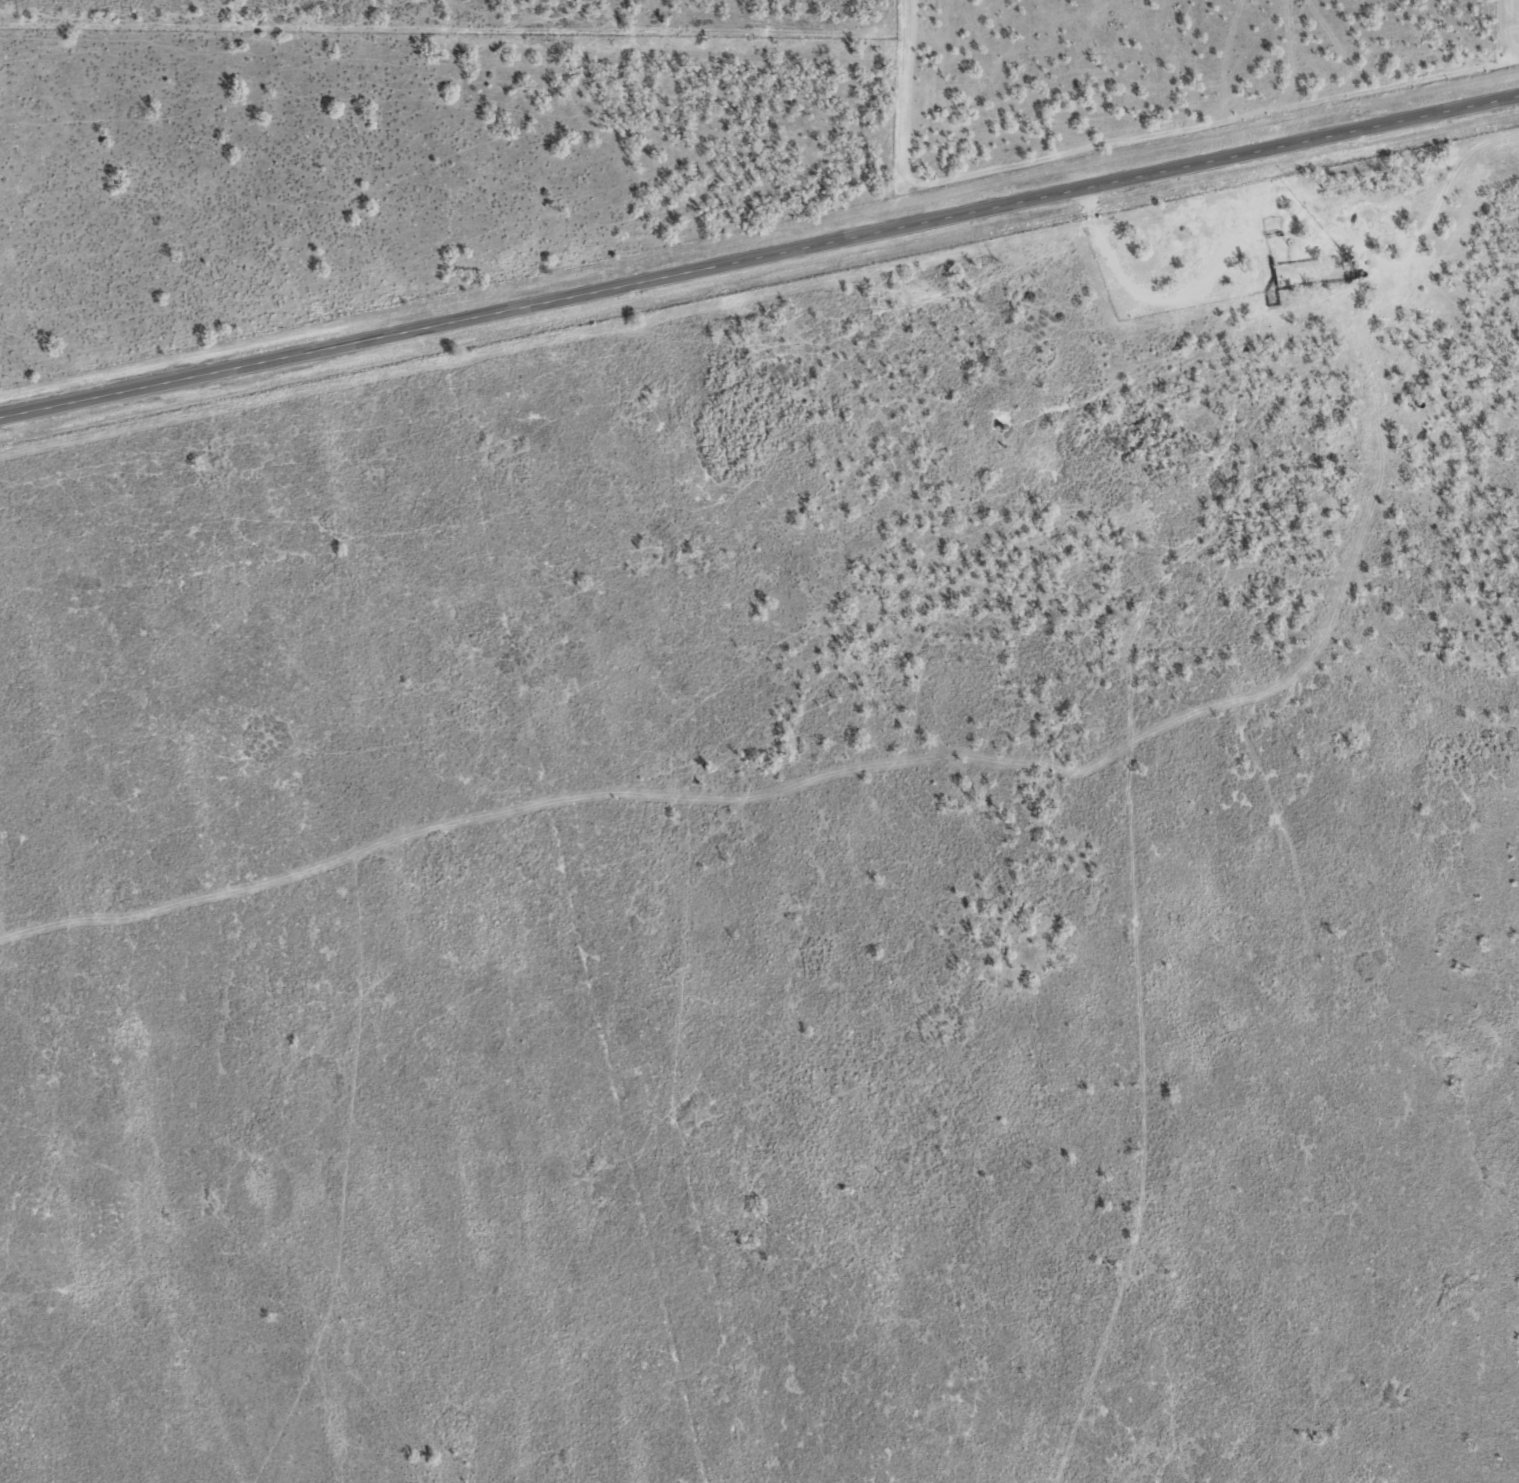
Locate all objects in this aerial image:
road: (759, 263)

